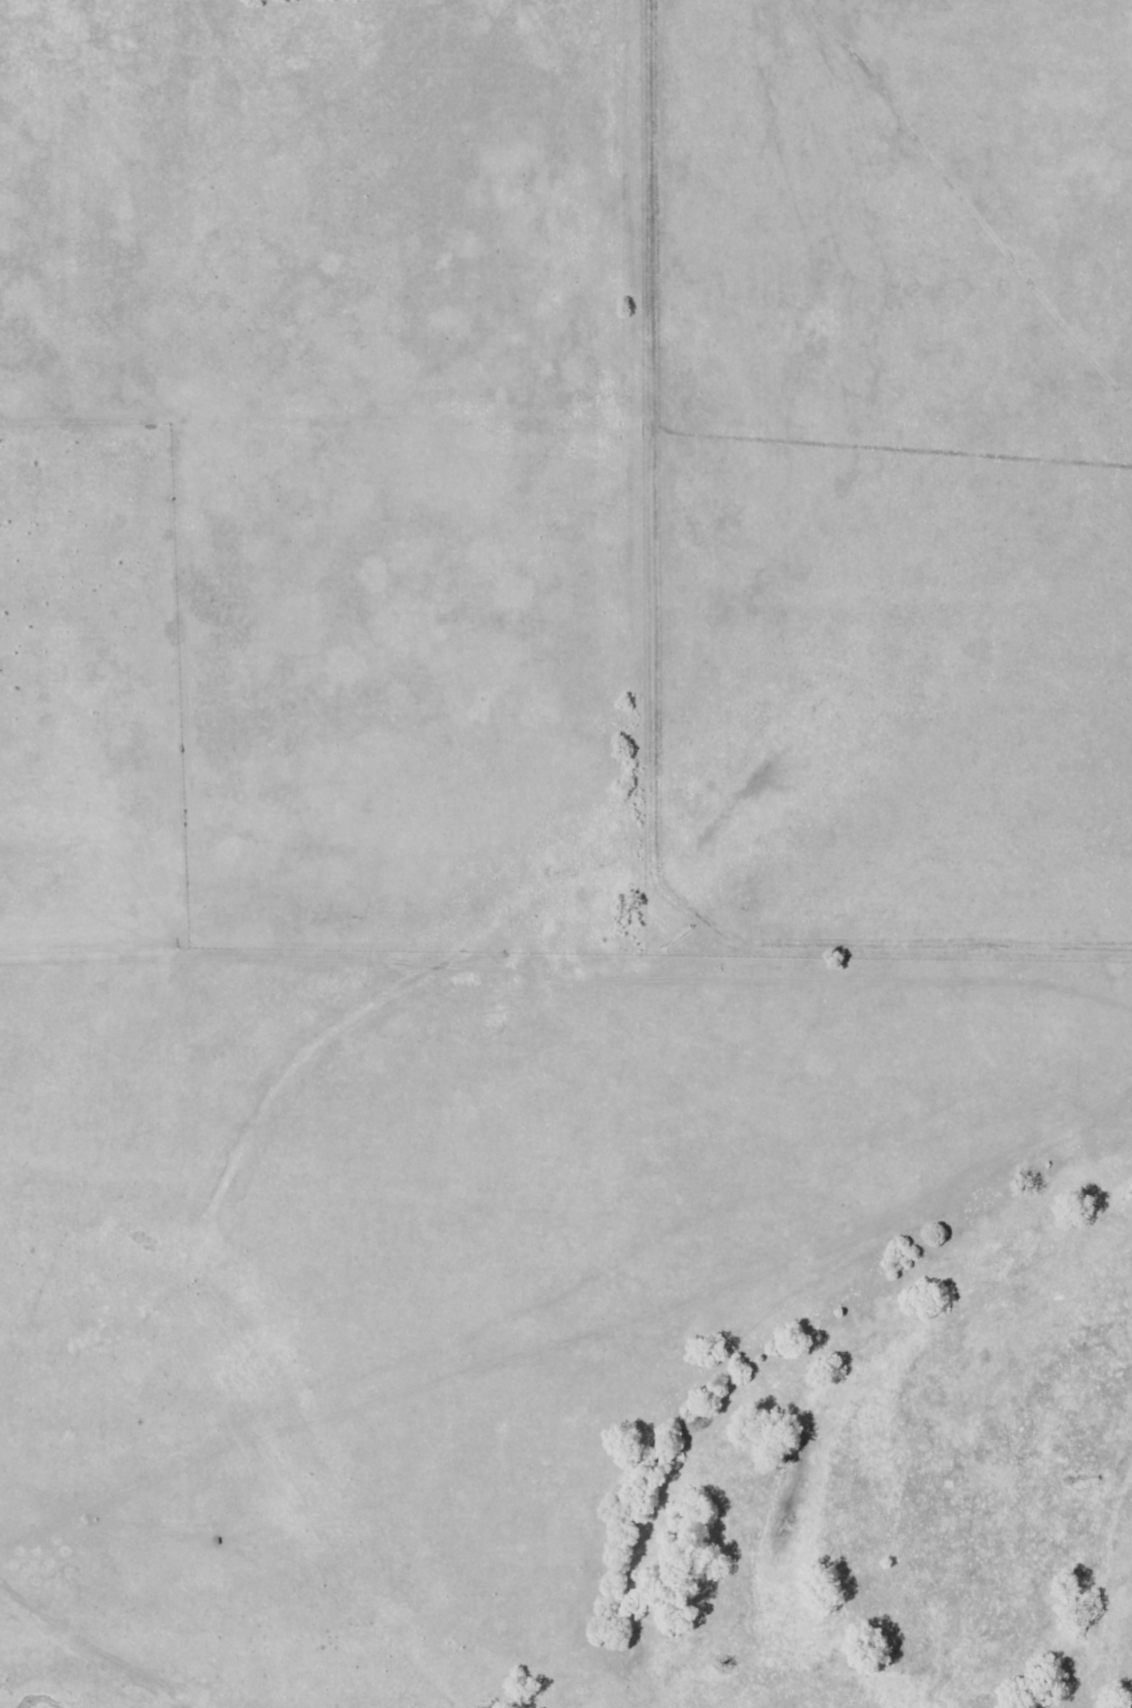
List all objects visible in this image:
road: (96, 1642)

